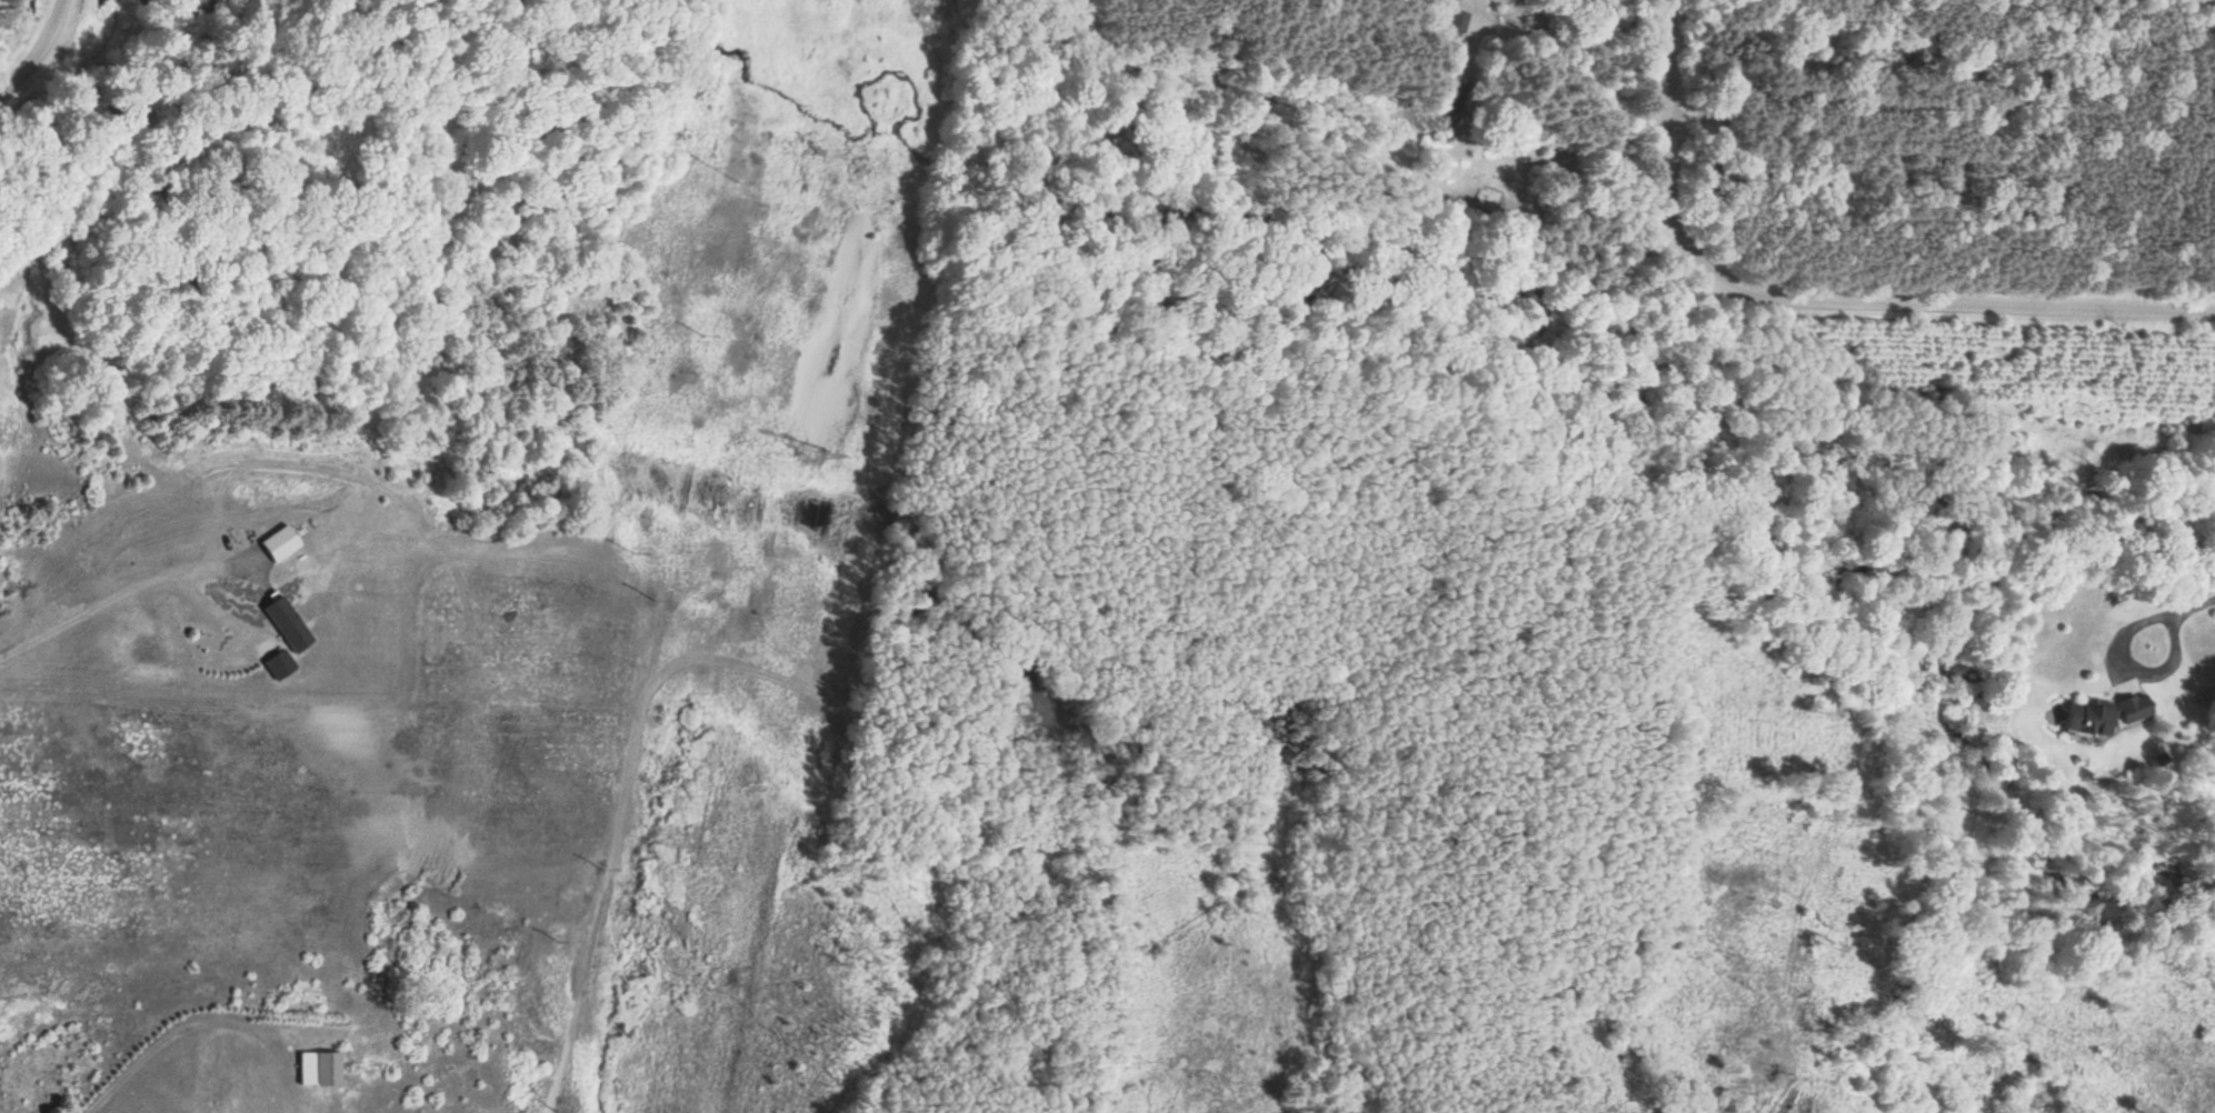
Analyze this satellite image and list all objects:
road: (39, 48)
road: (1649, 136)
road: (1945, 301)
power tower: (810, 452)
building: (281, 544)
building: (289, 623)
building: (331, 1067)

